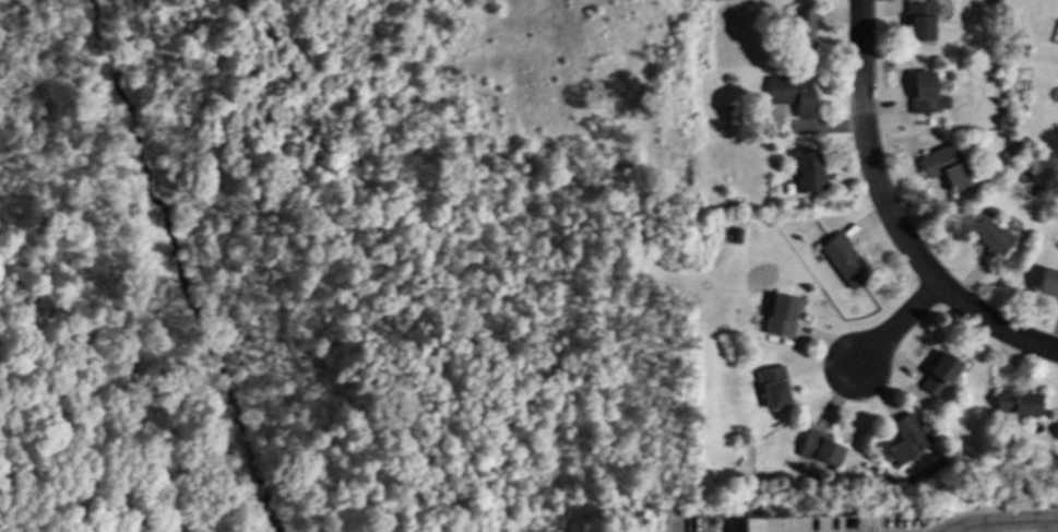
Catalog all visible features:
building: (919, 20)
building: (801, 28)
building: (792, 92)
building: (926, 93)
building: (944, 165)
building: (808, 170)
road: (891, 215)
building: (988, 235)
building: (843, 259)
building: (1048, 282)
building: (781, 314)
road: (897, 327)
building: (940, 374)
building: (773, 387)
building: (1018, 402)
building: (906, 438)
building: (821, 448)
road: (1008, 521)
building: (775, 523)
building: (1014, 531)

